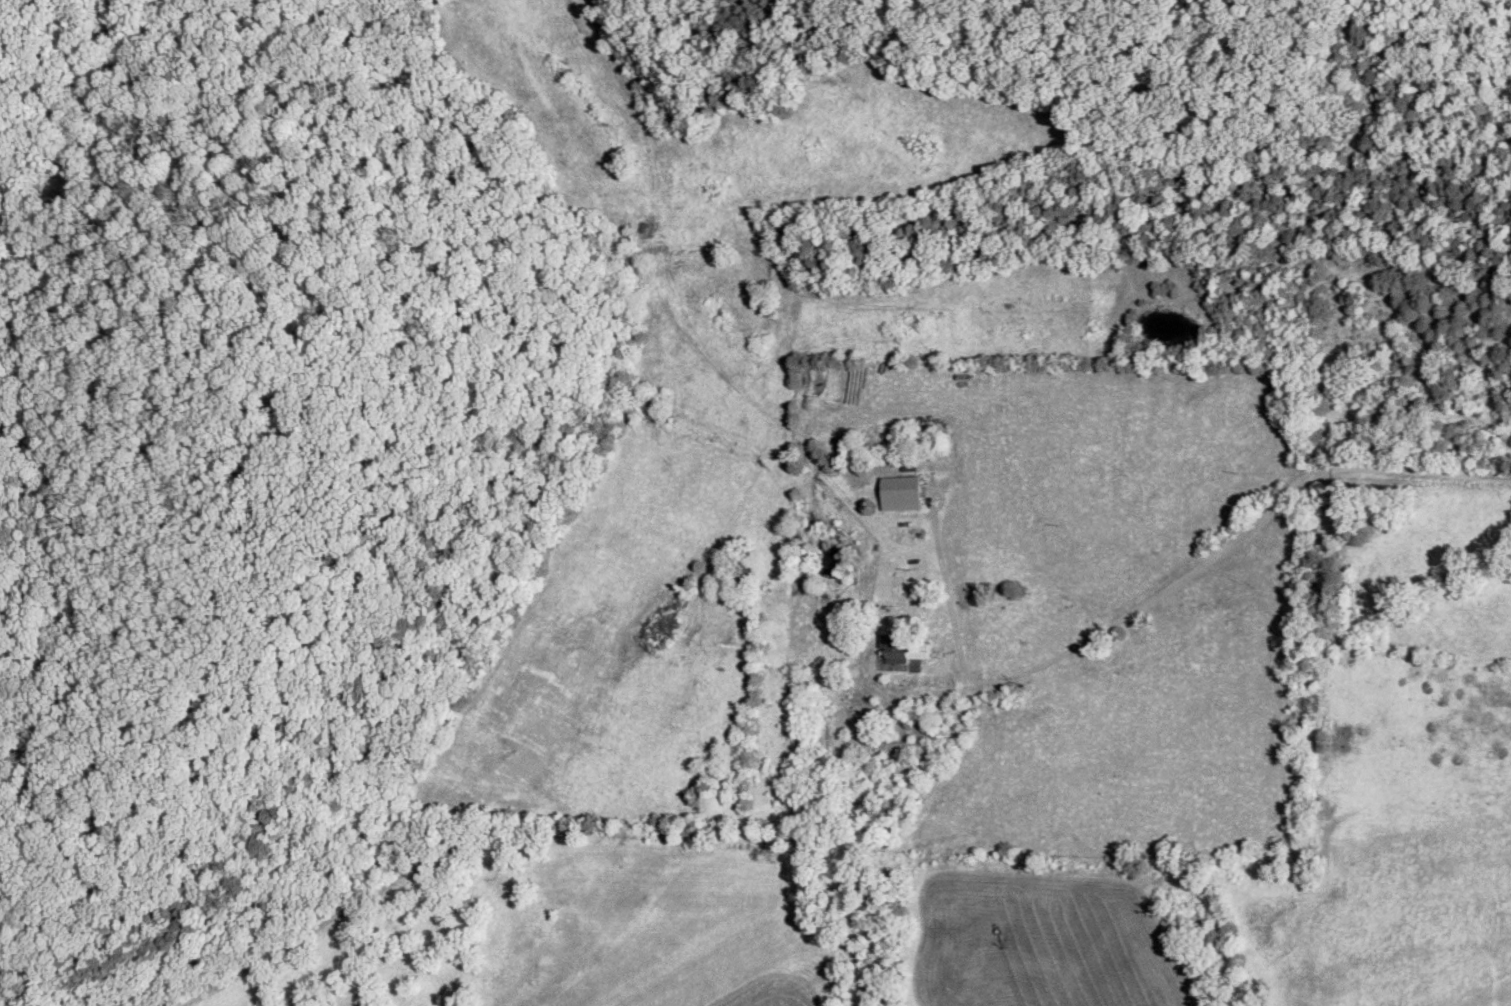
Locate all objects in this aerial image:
building: (900, 493)
road: (1217, 522)
building: (901, 651)

